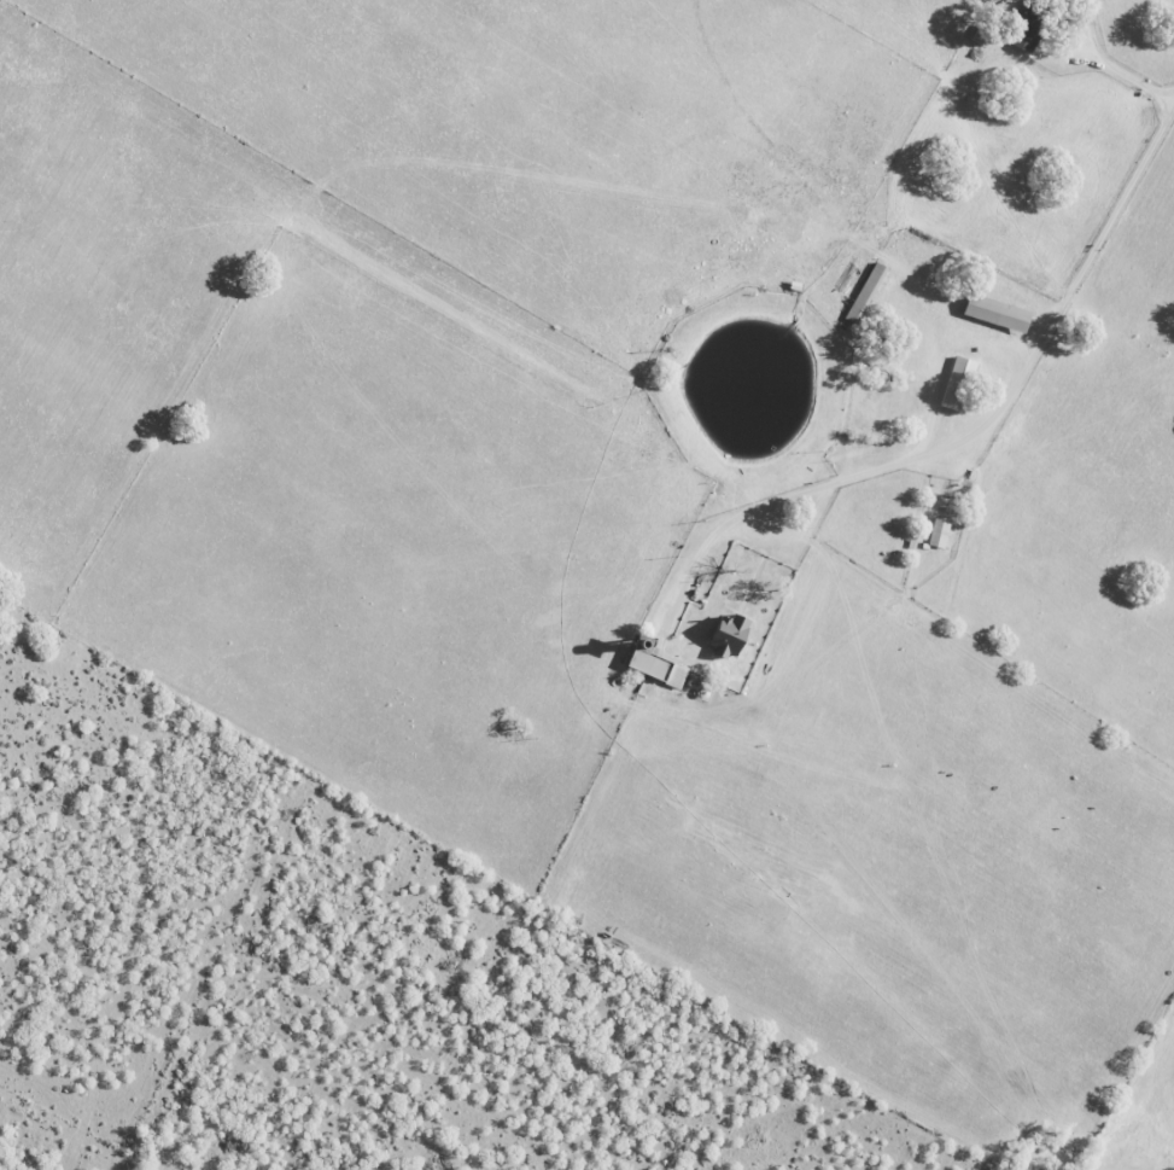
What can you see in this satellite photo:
building: (1030, 25)
road: (1112, 64)
building: (868, 291)
building: (1000, 313)
building: (960, 383)
road: (977, 427)
building: (940, 531)
building: (734, 635)

